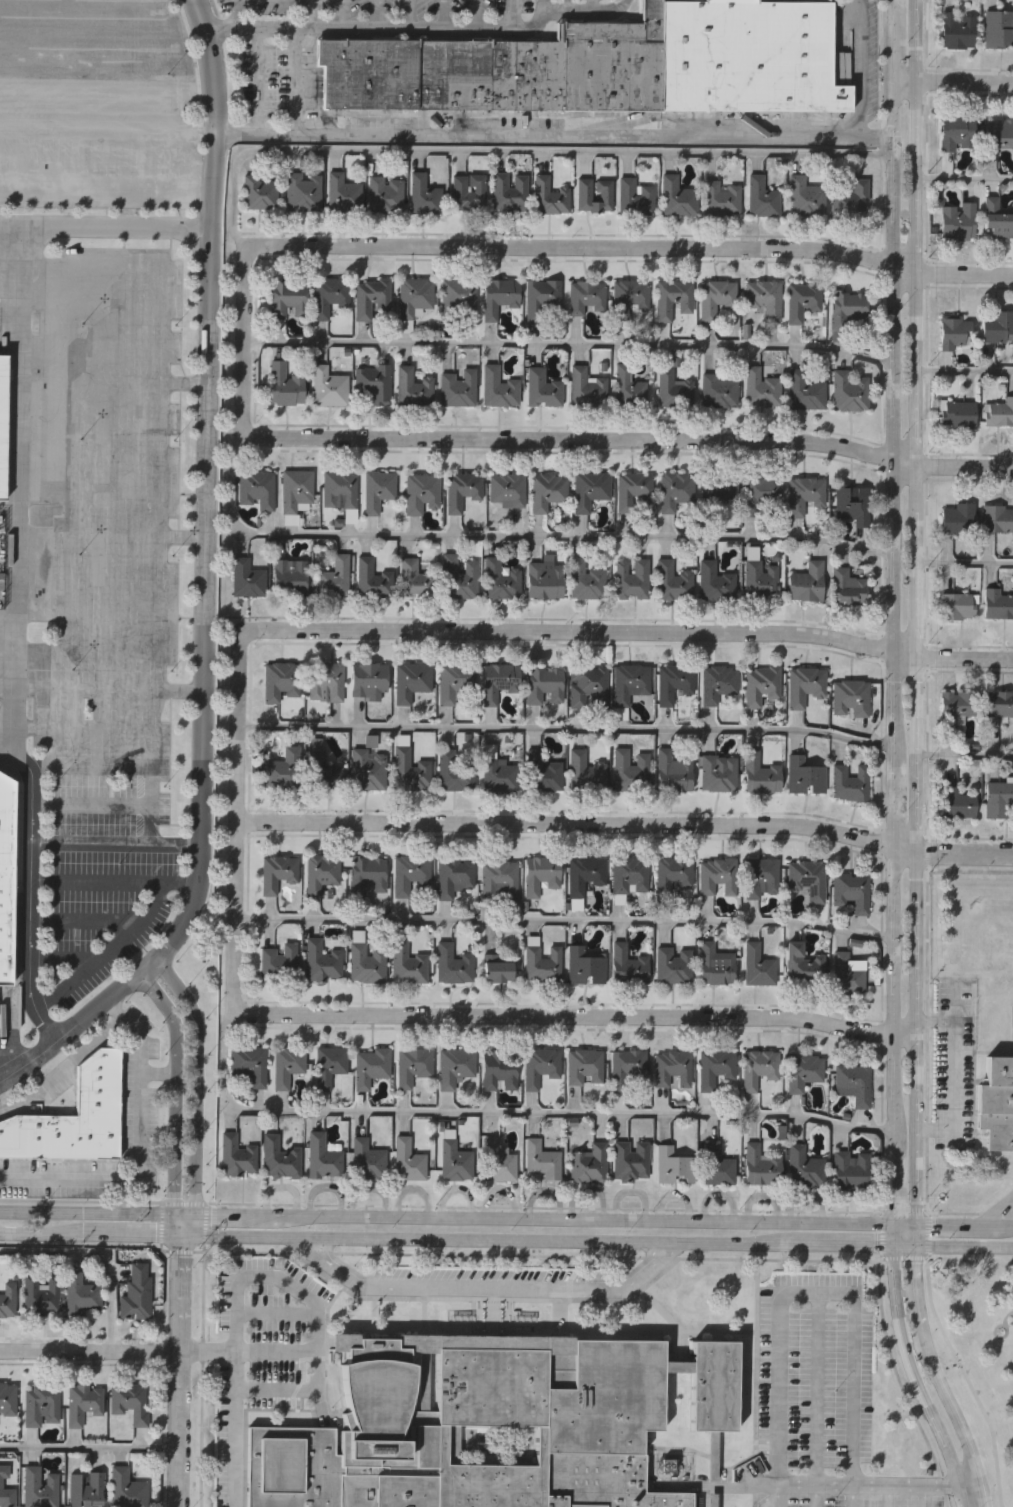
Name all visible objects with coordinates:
road: (541, 5)
road: (563, 5)
road: (305, 14)
road: (418, 27)
building: (997, 29)
building: (956, 30)
building: (748, 56)
road: (857, 68)
building: (502, 70)
road: (258, 80)
road: (952, 81)
parking lot: (99, 95)
building: (955, 132)
building: (997, 133)
road: (553, 134)
road: (963, 177)
building: (303, 191)
building: (468, 191)
building: (510, 192)
building: (260, 193)
building: (343, 194)
building: (386, 194)
building: (594, 195)
building: (424, 196)
building: (549, 197)
building: (635, 197)
building: (761, 197)
building: (805, 197)
building: (678, 198)
building: (721, 199)
building: (852, 200)
building: (996, 220)
building: (956, 222)
road: (104, 225)
road: (585, 247)
road: (963, 271)
building: (329, 295)
building: (414, 297)
building: (498, 297)
building: (585, 297)
building: (288, 298)
building: (458, 298)
building: (541, 298)
building: (628, 298)
building: (716, 298)
building: (373, 299)
building: (673, 299)
building: (763, 300)
building: (802, 301)
building: (848, 310)
building: (997, 327)
road: (245, 331)
building: (952, 332)
road: (568, 345)
road: (963, 371)
building: (374, 383)
building: (284, 386)
building: (329, 387)
building: (413, 387)
building: (458, 388)
building: (498, 388)
building: (586, 388)
building: (629, 388)
building: (542, 389)
building: (673, 389)
building: (761, 389)
building: (719, 391)
building: (806, 391)
building: (849, 391)
building: (999, 412)
building: (957, 413)
building: (3, 424)
road: (574, 439)
road: (963, 465)
building: (257, 489)
building: (719, 489)
building: (339, 490)
building: (506, 490)
building: (589, 490)
building: (632, 490)
building: (675, 490)
building: (377, 491)
building: (462, 491)
building: (547, 491)
building: (297, 492)
building: (421, 493)
building: (761, 493)
building: (805, 495)
building: (852, 504)
building: (956, 518)
building: (997, 519)
road: (204, 534)
road: (510, 538)
road: (964, 564)
building: (289, 575)
building: (459, 578)
building: (631, 578)
building: (247, 579)
building: (335, 579)
building: (501, 579)
building: (760, 579)
building: (373, 580)
building: (416, 580)
building: (545, 580)
building: (586, 581)
building: (672, 582)
building: (715, 582)
building: (806, 582)
building: (847, 588)
parking lot: (113, 602)
building: (996, 604)
building: (955, 607)
road: (891, 610)
road: (915, 611)
road: (634, 632)
road: (18, 642)
building: (412, 680)
building: (455, 680)
building: (281, 681)
building: (326, 681)
building: (369, 681)
building: (498, 681)
building: (673, 682)
building: (717, 682)
building: (629, 683)
building: (760, 684)
building: (545, 685)
building: (804, 685)
building: (588, 687)
building: (850, 698)
building: (999, 703)
building: (954, 705)
road: (565, 730)
road: (964, 757)
building: (284, 769)
building: (369, 769)
building: (631, 770)
building: (324, 771)
building: (410, 771)
building: (586, 771)
building: (455, 772)
building: (673, 772)
building: (545, 773)
building: (718, 773)
building: (760, 774)
building: (501, 776)
building: (805, 776)
building: (849, 783)
building: (998, 799)
building: (954, 801)
road: (109, 803)
road: (238, 805)
road: (577, 823)
road: (115, 843)
road: (963, 852)
building: (278, 872)
building: (322, 872)
building: (410, 873)
building: (367, 874)
building: (541, 874)
building: (584, 875)
building: (630, 875)
building: (673, 875)
building: (455, 876)
building: (717, 876)
building: (5, 878)
building: (762, 878)
building: (807, 879)
building: (500, 880)
building: (851, 891)
road: (564, 922)
building: (322, 961)
building: (540, 961)
building: (280, 962)
building: (367, 963)
building: (408, 963)
building: (453, 964)
building: (715, 964)
building: (585, 965)
building: (628, 965)
building: (674, 965)
building: (758, 965)
building: (802, 965)
building: (496, 968)
building: (846, 975)
road: (566, 1015)
road: (40, 1053)
building: (250, 1064)
building: (287, 1064)
building: (330, 1065)
building: (413, 1065)
building: (541, 1065)
building: (371, 1066)
building: (456, 1066)
building: (584, 1066)
road: (63, 1067)
building: (672, 1067)
building: (715, 1067)
building: (758, 1067)
building: (627, 1068)
building: (499, 1069)
building: (803, 1070)
road: (159, 1074)
road: (953, 1074)
building: (853, 1082)
road: (197, 1084)
road: (176, 1091)
building: (997, 1103)
road: (507, 1111)
building: (72, 1118)
road: (141, 1152)
building: (237, 1155)
building: (323, 1156)
building: (280, 1157)
building: (542, 1159)
building: (631, 1159)
building: (368, 1160)
building: (408, 1160)
building: (498, 1160)
building: (456, 1161)
building: (589, 1164)
building: (717, 1164)
building: (674, 1165)
building: (760, 1165)
building: (804, 1166)
building: (850, 1170)
road: (1003, 1208)
road: (92, 1210)
road: (882, 1210)
traffic signals: (184, 1213)
road: (538, 1216)
road: (183, 1222)
road: (902, 1222)
road: (962, 1222)
road: (91, 1230)
road: (892, 1230)
road: (912, 1230)
traffic signals: (183, 1232)
road: (537, 1235)
road: (902, 1238)
road: (962, 1240)
road: (99, 1252)
road: (819, 1281)
road: (483, 1286)
building: (135, 1290)
building: (79, 1292)
building: (39, 1293)
road: (303, 1296)
building: (6, 1297)
road: (276, 1303)
road: (952, 1341)
road: (90, 1349)
park: (979, 1351)
road: (179, 1369)
road: (911, 1375)
road: (935, 1376)
road: (818, 1382)
road: (289, 1387)
building: (7, 1397)
building: (129, 1400)
road: (234, 1400)
building: (384, 1400)
building: (81, 1401)
building: (40, 1402)
building: (549, 1416)
road: (89, 1448)
road: (965, 1481)
road: (852, 1483)
building: (38, 1487)
building: (125, 1488)
building: (5, 1489)
building: (84, 1489)
road: (778, 1495)
road: (816, 1495)
road: (852, 1495)
road: (889, 1495)
road: (925, 1495)
building: (712, 1500)

